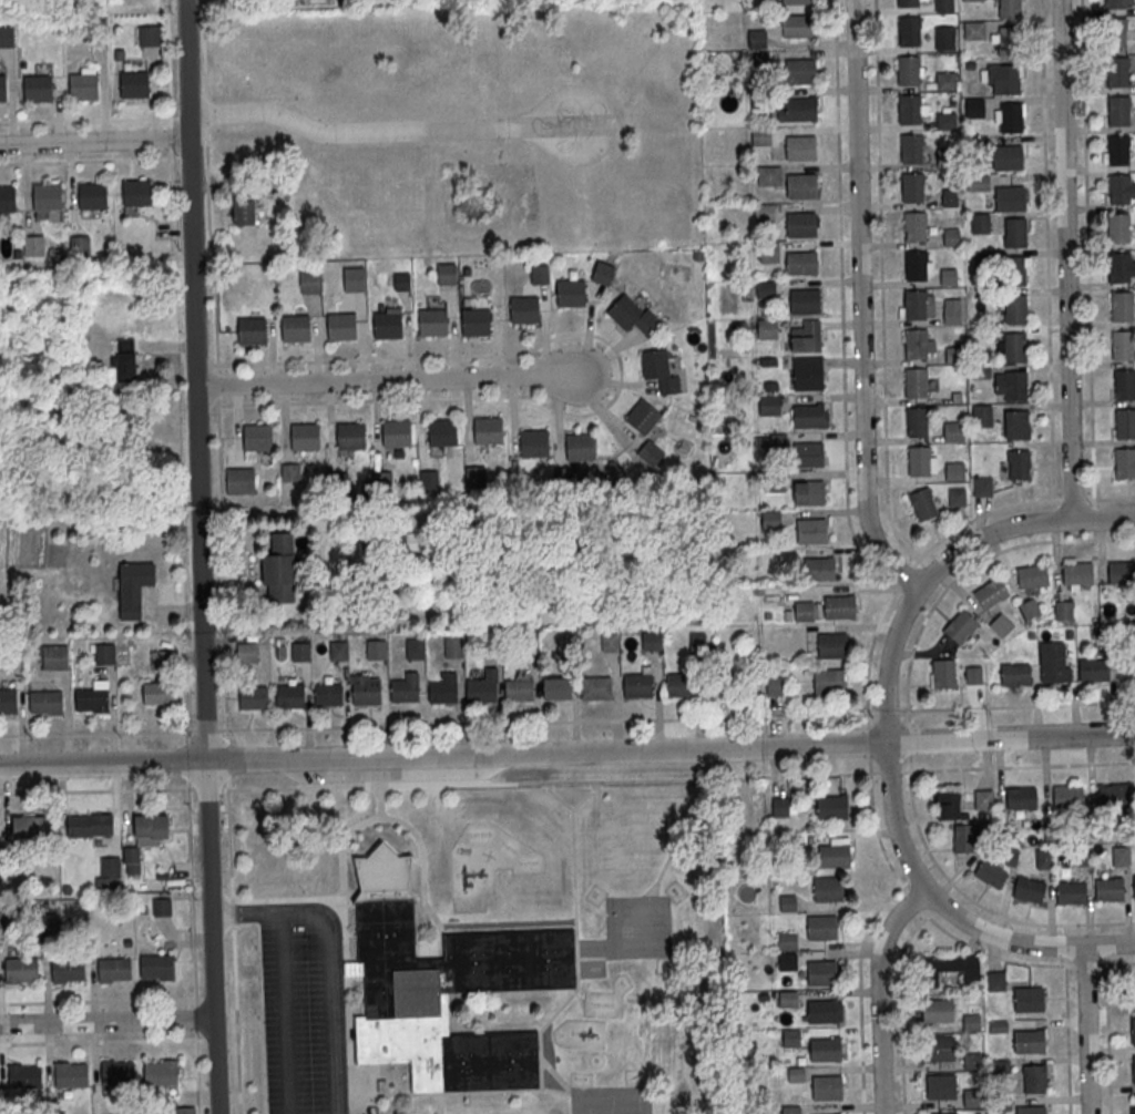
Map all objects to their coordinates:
building: (972, 0)
building: (797, 1)
building: (908, 2)
building: (1114, 3)
building: (944, 6)
building: (1010, 8)
building: (797, 27)
building: (974, 29)
building: (909, 30)
building: (1115, 31)
building: (7, 37)
building: (149, 37)
building: (944, 38)
building: (98, 39)
building: (756, 39)
building: (1009, 40)
road: (168, 59)
building: (759, 61)
building: (909, 70)
building: (1117, 70)
building: (800, 72)
building: (1002, 78)
building: (945, 80)
building: (133, 84)
building: (83, 86)
building: (2, 89)
building: (38, 89)
building: (759, 98)
building: (973, 106)
building: (909, 108)
building: (800, 109)
building: (1118, 110)
building: (1011, 116)
building: (947, 120)
road: (377, 130)
building: (760, 136)
road: (171, 139)
road: (93, 142)
building: (801, 146)
building: (912, 147)
building: (1118, 150)
building: (947, 156)
building: (1008, 156)
building: (768, 176)
building: (978, 182)
building: (801, 186)
building: (912, 186)
building: (1119, 188)
building: (137, 194)
building: (93, 196)
building: (47, 197)
building: (951, 197)
building: (1010, 197)
building: (8, 201)
road: (208, 202)
building: (244, 213)
building: (764, 213)
building: (980, 223)
building: (801, 224)
building: (914, 226)
building: (1118, 227)
building: (1014, 232)
building: (951, 237)
building: (79, 246)
building: (33, 247)
road: (1046, 249)
road: (1087, 249)
building: (769, 254)
road: (1066, 259)
building: (982, 262)
building: (801, 263)
building: (916, 265)
building: (1121, 267)
building: (1014, 272)
building: (603, 274)
building: (447, 275)
building: (540, 275)
building: (949, 277)
building: (354, 280)
building: (405, 282)
building: (309, 283)
road: (881, 284)
building: (766, 289)
building: (571, 294)
building: (805, 299)
road: (841, 303)
road: (860, 304)
building: (916, 304)
building: (1122, 306)
building: (1014, 308)
building: (524, 309)
building: (633, 314)
building: (952, 315)
building: (432, 321)
building: (476, 321)
building: (387, 324)
building: (340, 325)
building: (295, 327)
building: (766, 327)
building: (252, 329)
building: (807, 336)
building: (916, 343)
building: (1122, 345)
building: (1014, 347)
building: (953, 355)
building: (124, 360)
road: (620, 370)
building: (659, 371)
building: (808, 372)
road: (397, 377)
building: (916, 381)
building: (1124, 384)
building: (1015, 385)
building: (769, 405)
building: (808, 415)
building: (982, 416)
building: (643, 418)
building: (917, 421)
building: (1125, 422)
building: (1016, 423)
building: (488, 430)
building: (396, 432)
building: (442, 432)
building: (953, 432)
building: (349, 435)
building: (257, 436)
building: (305, 436)
building: (533, 442)
building: (580, 447)
building: (651, 452)
building: (808, 453)
building: (919, 460)
building: (1125, 462)
building: (1019, 464)
building: (954, 471)
building: (290, 473)
building: (474, 478)
building: (565, 478)
building: (429, 480)
building: (241, 482)
building: (382, 482)
building: (775, 482)
building: (338, 483)
building: (982, 486)
building: (809, 491)
building: (957, 497)
building: (923, 503)
road: (270, 510)
building: (770, 518)
building: (812, 530)
road: (935, 540)
building: (376, 541)
road: (200, 556)
building: (279, 569)
building: (821, 569)
road: (965, 570)
building: (1122, 571)
building: (1076, 572)
building: (1032, 575)
building: (133, 589)
building: (991, 593)
building: (839, 606)
building: (1030, 607)
building: (807, 610)
building: (1063, 610)
building: (1001, 624)
building: (961, 625)
building: (652, 642)
building: (610, 643)
building: (565, 645)
building: (832, 645)
building: (530, 646)
building: (698, 646)
building: (491, 647)
building: (376, 650)
building: (416, 650)
building: (453, 650)
building: (339, 651)
building: (246, 653)
building: (300, 653)
building: (105, 655)
building: (54, 658)
building: (160, 661)
building: (1054, 662)
building: (1126, 666)
building: (1093, 668)
building: (943, 673)
building: (1015, 673)
building: (973, 674)
building: (829, 682)
building: (774, 685)
building: (637, 686)
building: (681, 686)
building: (483, 688)
building: (596, 688)
building: (406, 689)
building: (443, 691)
building: (558, 691)
building: (366, 692)
building: (520, 692)
building: (157, 693)
building: (329, 695)
building: (290, 696)
building: (91, 698)
building: (253, 698)
building: (8, 699)
building: (45, 701)
road: (1015, 705)
road: (887, 711)
road: (548, 720)
road: (206, 728)
road: (98, 732)
road: (226, 733)
road: (886, 733)
road: (185, 735)
road: (908, 739)
road: (868, 740)
road: (567, 750)
road: (186, 759)
road: (226, 759)
road: (869, 764)
road: (1022, 765)
road: (909, 766)
road: (889, 770)
road: (550, 779)
road: (209, 788)
road: (98, 790)
building: (1114, 795)
building: (1068, 796)
building: (1021, 797)
building: (983, 798)
building: (948, 805)
building: (832, 806)
building: (90, 825)
building: (28, 828)
building: (151, 829)
building: (964, 838)
building: (835, 852)
building: (1082, 855)
building: (1121, 855)
building: (1043, 858)
building: (991, 872)
building: (109, 873)
building: (1134, 886)
building: (828, 888)
building: (1110, 888)
building: (1029, 889)
road: (192, 892)
building: (1071, 892)
building: (787, 902)
road: (979, 905)
building: (162, 906)
building: (3, 917)
building: (820, 927)
road: (910, 937)
building: (787, 940)
road: (1065, 946)
road: (234, 947)
road: (328, 958)
building: (787, 961)
building: (156, 967)
building: (951, 967)
building: (21, 969)
building: (67, 969)
building: (113, 969)
building: (822, 972)
building: (995, 980)
building: (443, 987)
road: (860, 992)
road: (880, 993)
building: (1131, 993)
building: (788, 998)
building: (1029, 999)
road: (98, 1000)
building: (938, 1009)
building: (822, 1011)
road: (285, 1013)
road: (196, 1018)
building: (972, 1018)
parking lot: (293, 1019)
road: (1067, 1020)
road: (106, 1021)
road: (1107, 1024)
road: (1087, 1030)
building: (1133, 1030)
building: (791, 1036)
road: (99, 1041)
building: (1029, 1041)
building: (939, 1047)
building: (826, 1049)
building: (972, 1060)
building: (1000, 1065)
building: (1134, 1069)
building: (116, 1072)
building: (160, 1072)
road: (197, 1072)
building: (71, 1073)
building: (795, 1073)
building: (24, 1075)
building: (1034, 1077)
building: (827, 1086)
building: (941, 1086)
building: (971, 1097)
building: (1134, 1102)
building: (789, 1108)
building: (185, 1110)
building: (1031, 1110)
building: (943, 1113)

